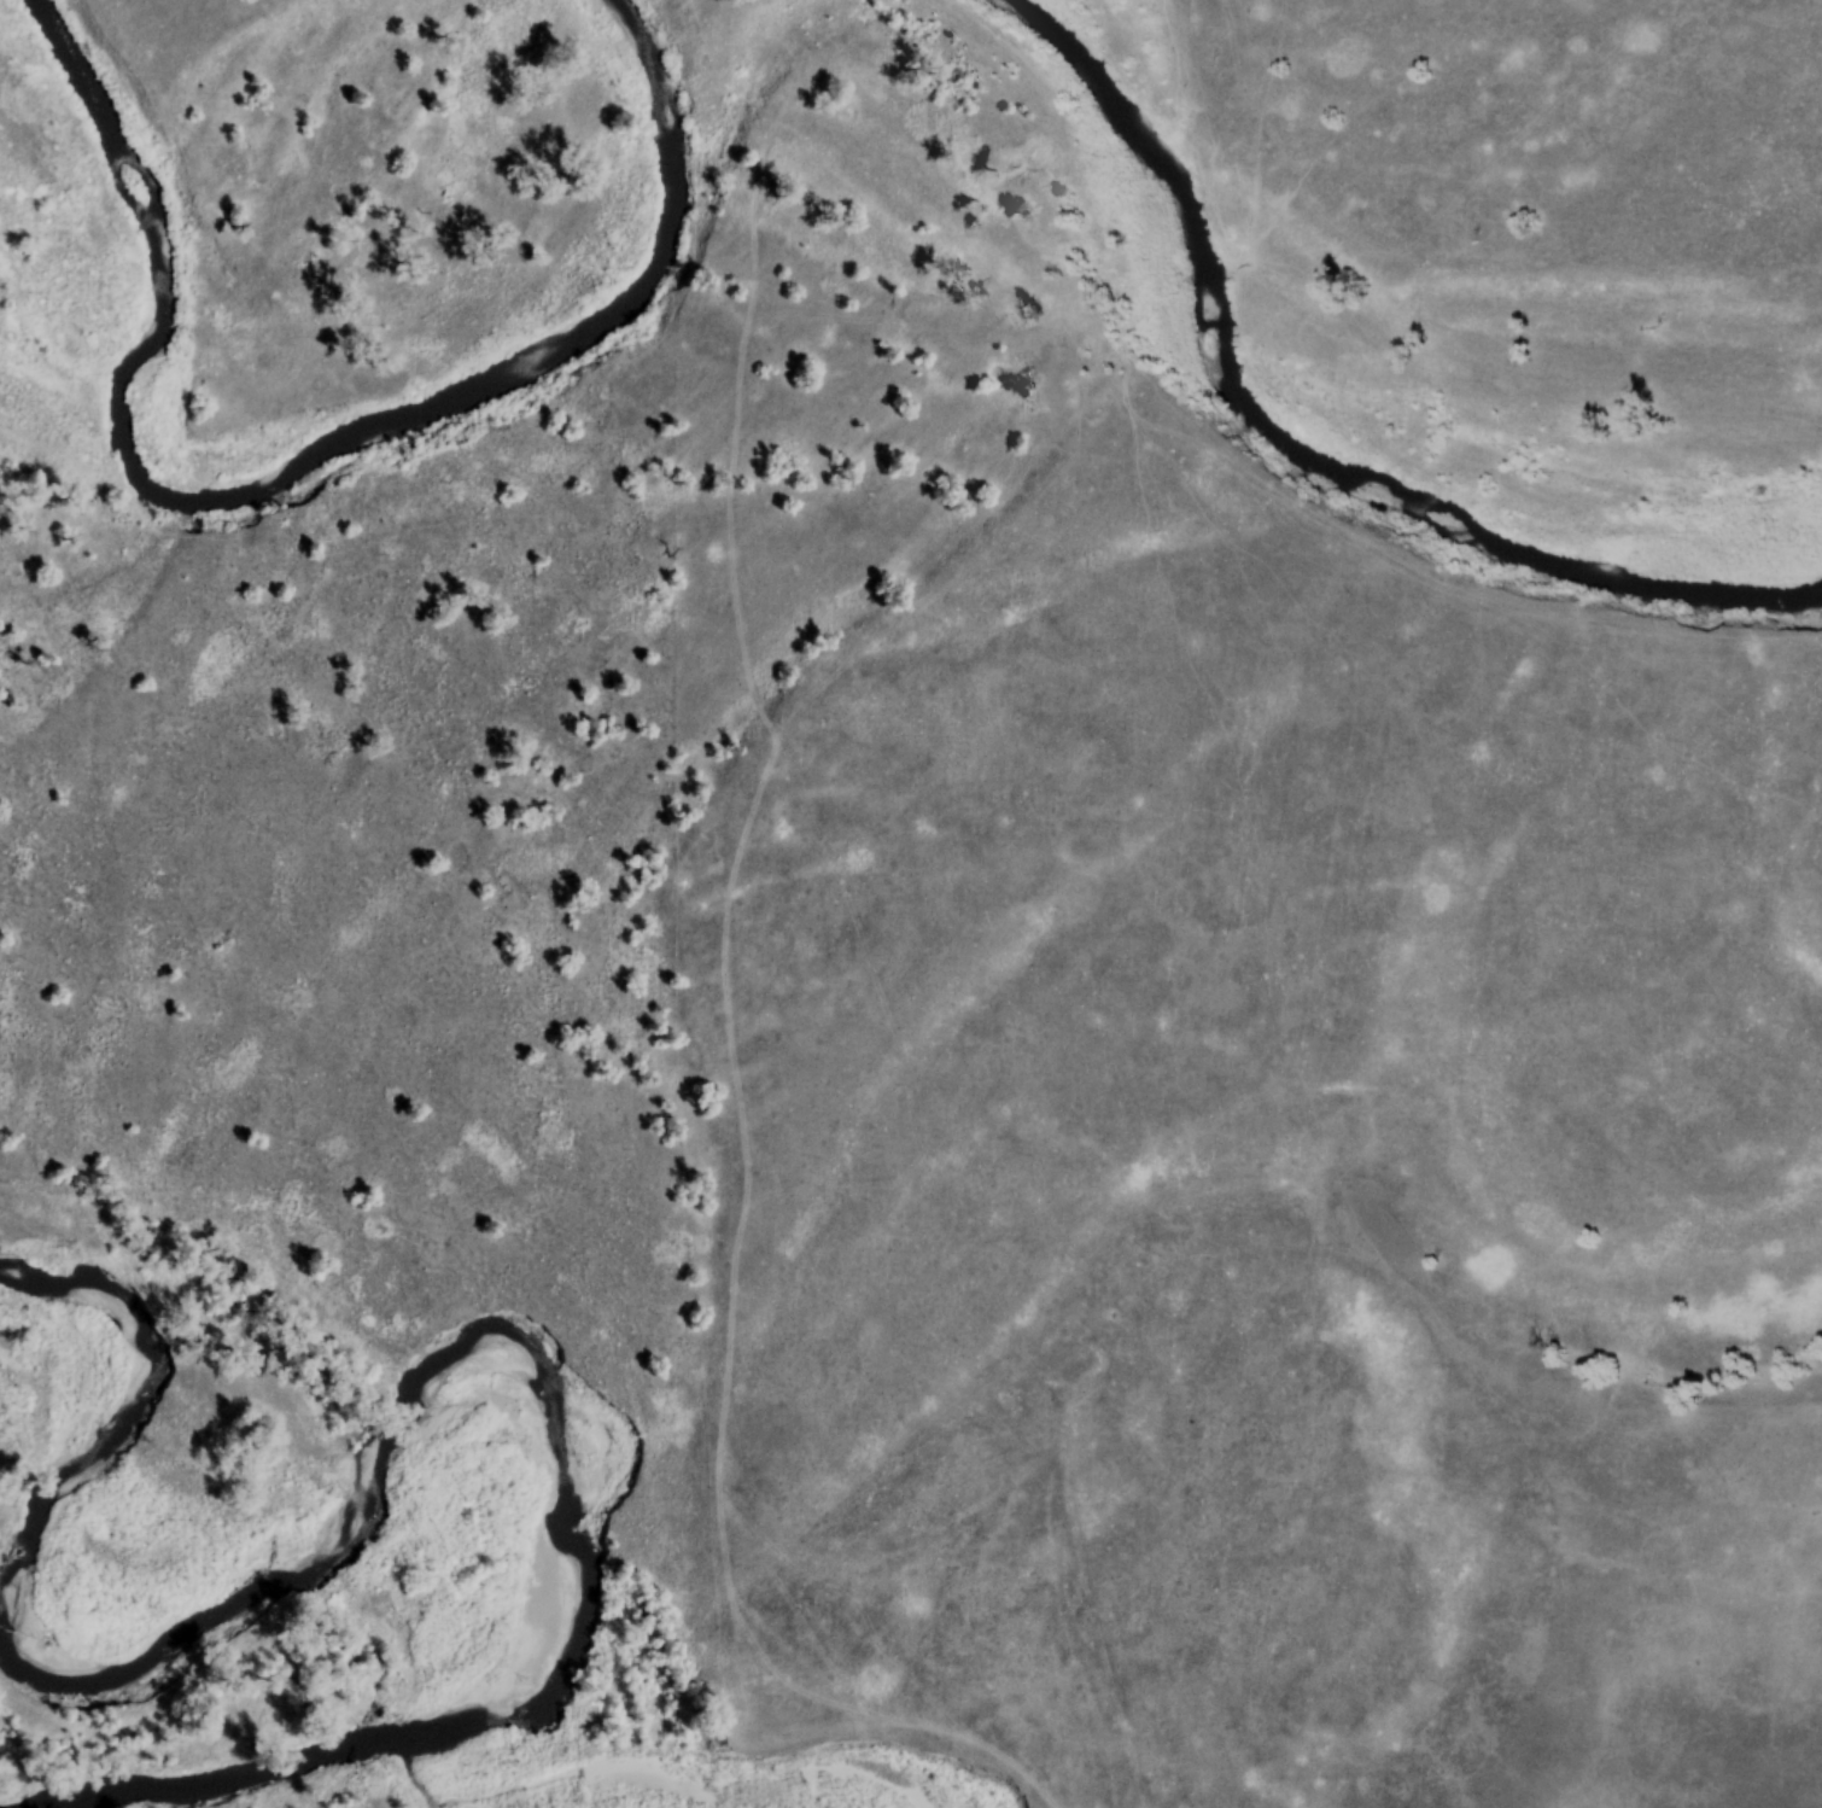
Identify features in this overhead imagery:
river: (1293, 448)
river: (292, 462)
river: (416, 1425)
river: (644, 1775)

